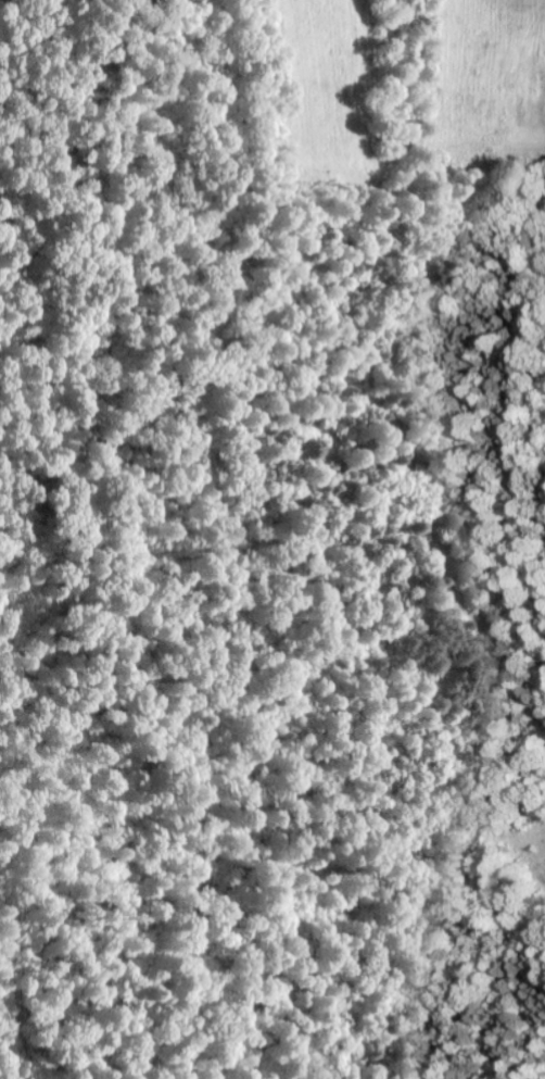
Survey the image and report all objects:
road: (371, 379)

